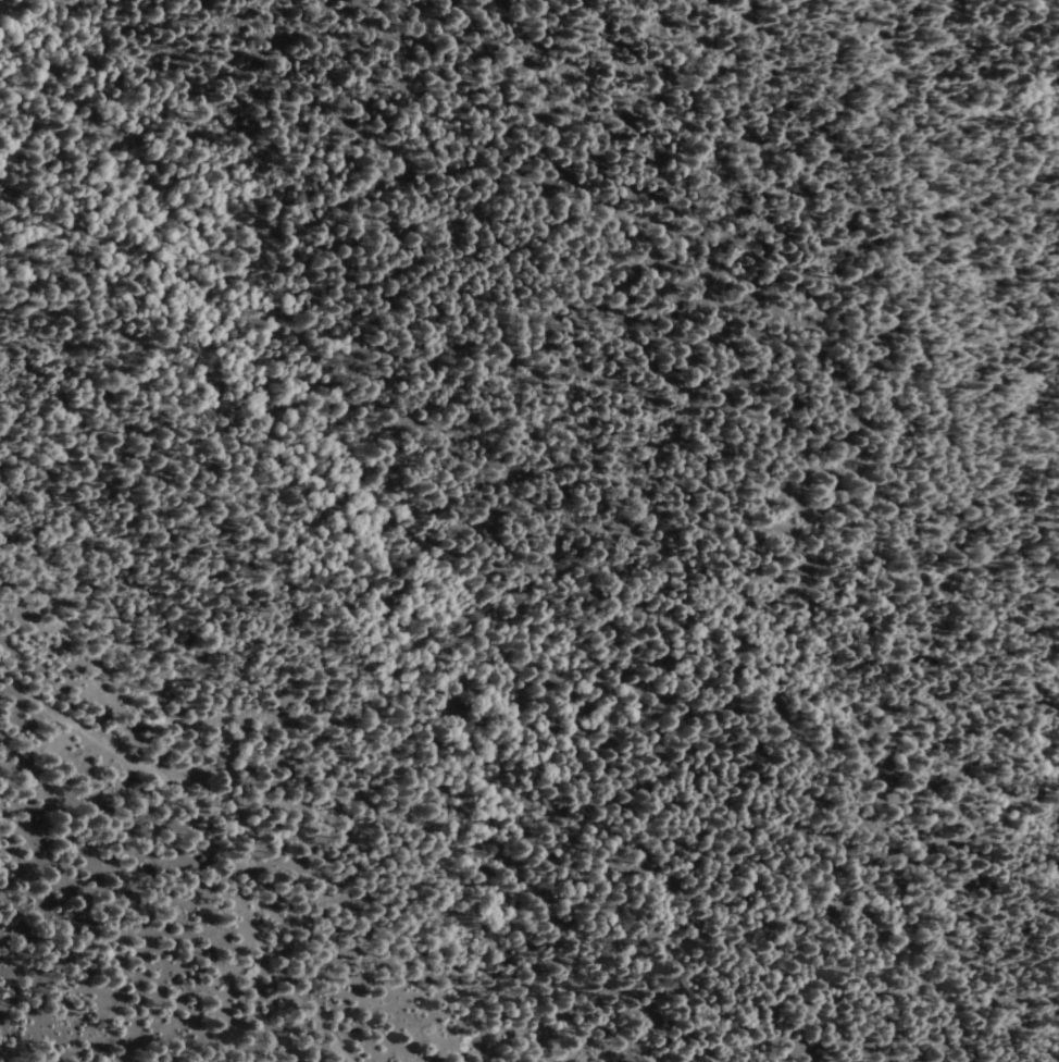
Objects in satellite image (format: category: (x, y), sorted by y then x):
road: (187, 901)

